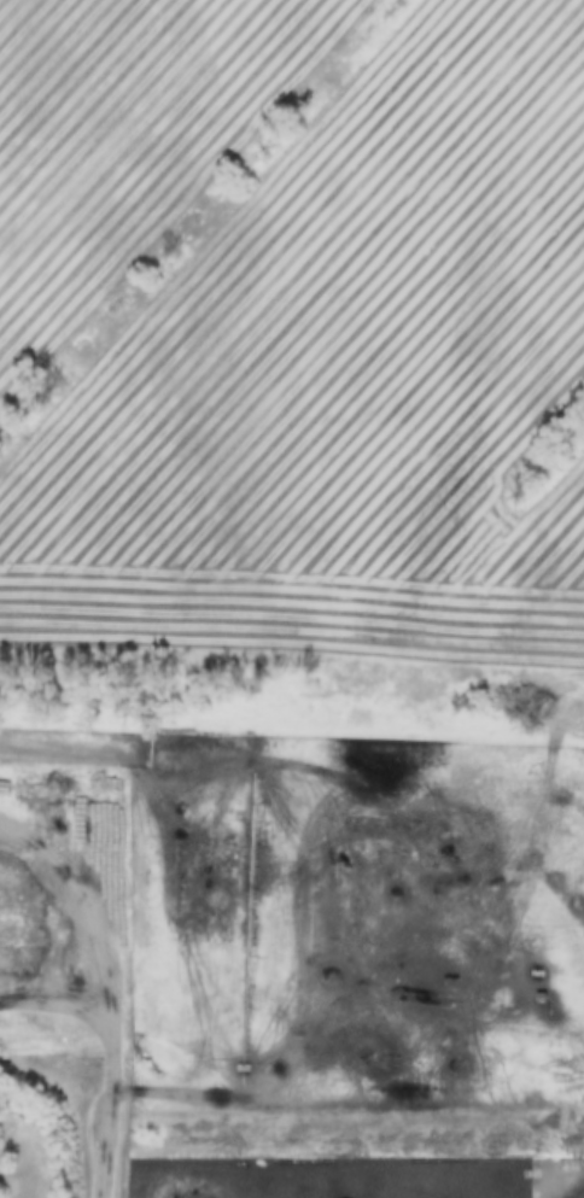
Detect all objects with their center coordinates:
road: (86, 1000)

